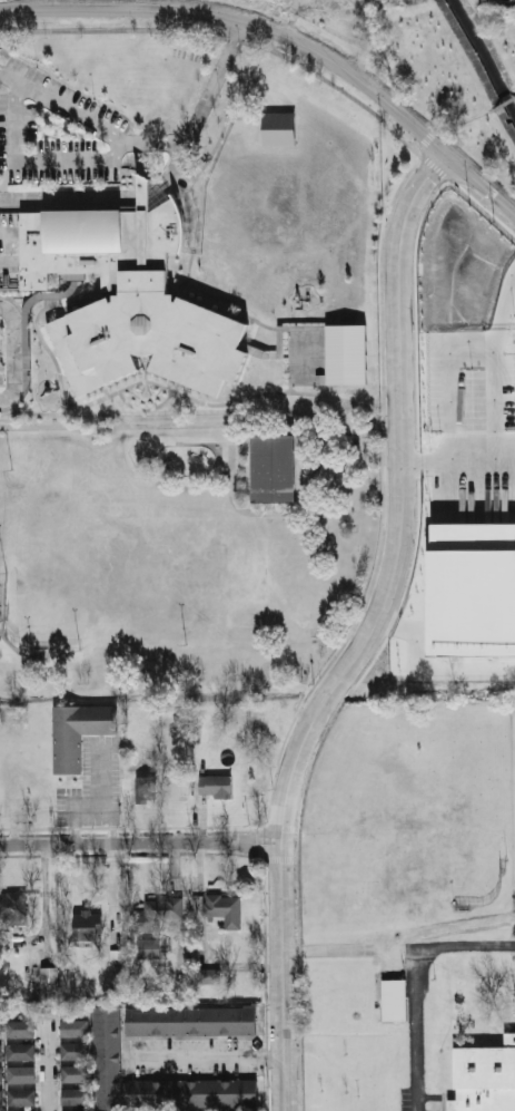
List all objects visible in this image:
road: (286, 38)
river: (484, 55)
road: (285, 57)
road: (210, 82)
road: (503, 104)
road: (60, 106)
road: (245, 117)
building: (279, 127)
road: (180, 143)
road: (32, 159)
road: (69, 196)
road: (145, 196)
road: (191, 204)
building: (130, 296)
building: (28, 332)
building: (283, 340)
road: (13, 351)
building: (329, 354)
road: (146, 368)
road: (290, 388)
road: (151, 392)
road: (141, 393)
road: (180, 393)
road: (146, 398)
road: (146, 408)
parking lot: (463, 419)
road: (200, 426)
road: (200, 441)
road: (218, 452)
road: (435, 465)
building: (271, 467)
road: (266, 511)
park: (181, 547)
building: (474, 588)
road: (366, 593)
road: (0, 634)
road: (370, 635)
road: (9, 644)
building: (79, 731)
building: (216, 786)
building: (145, 789)
road: (141, 844)
building: (13, 907)
building: (224, 909)
building: (160, 916)
building: (88, 926)
building: (3, 945)
building: (148, 948)
road: (399, 955)
building: (208, 976)
building: (49, 983)
building: (393, 1000)
building: (198, 1021)
building: (3, 1029)
building: (27, 1029)
building: (79, 1029)
road: (419, 1033)
building: (3, 1050)
building: (27, 1050)
building: (78, 1050)
road: (208, 1056)
building: (112, 1058)
road: (53, 1072)
building: (4, 1073)
building: (27, 1073)
building: (79, 1073)
building: (484, 1078)
building: (199, 1093)
building: (4, 1095)
building: (27, 1095)
building: (79, 1095)
building: (4, 1110)
building: (28, 1110)
building: (80, 1110)

